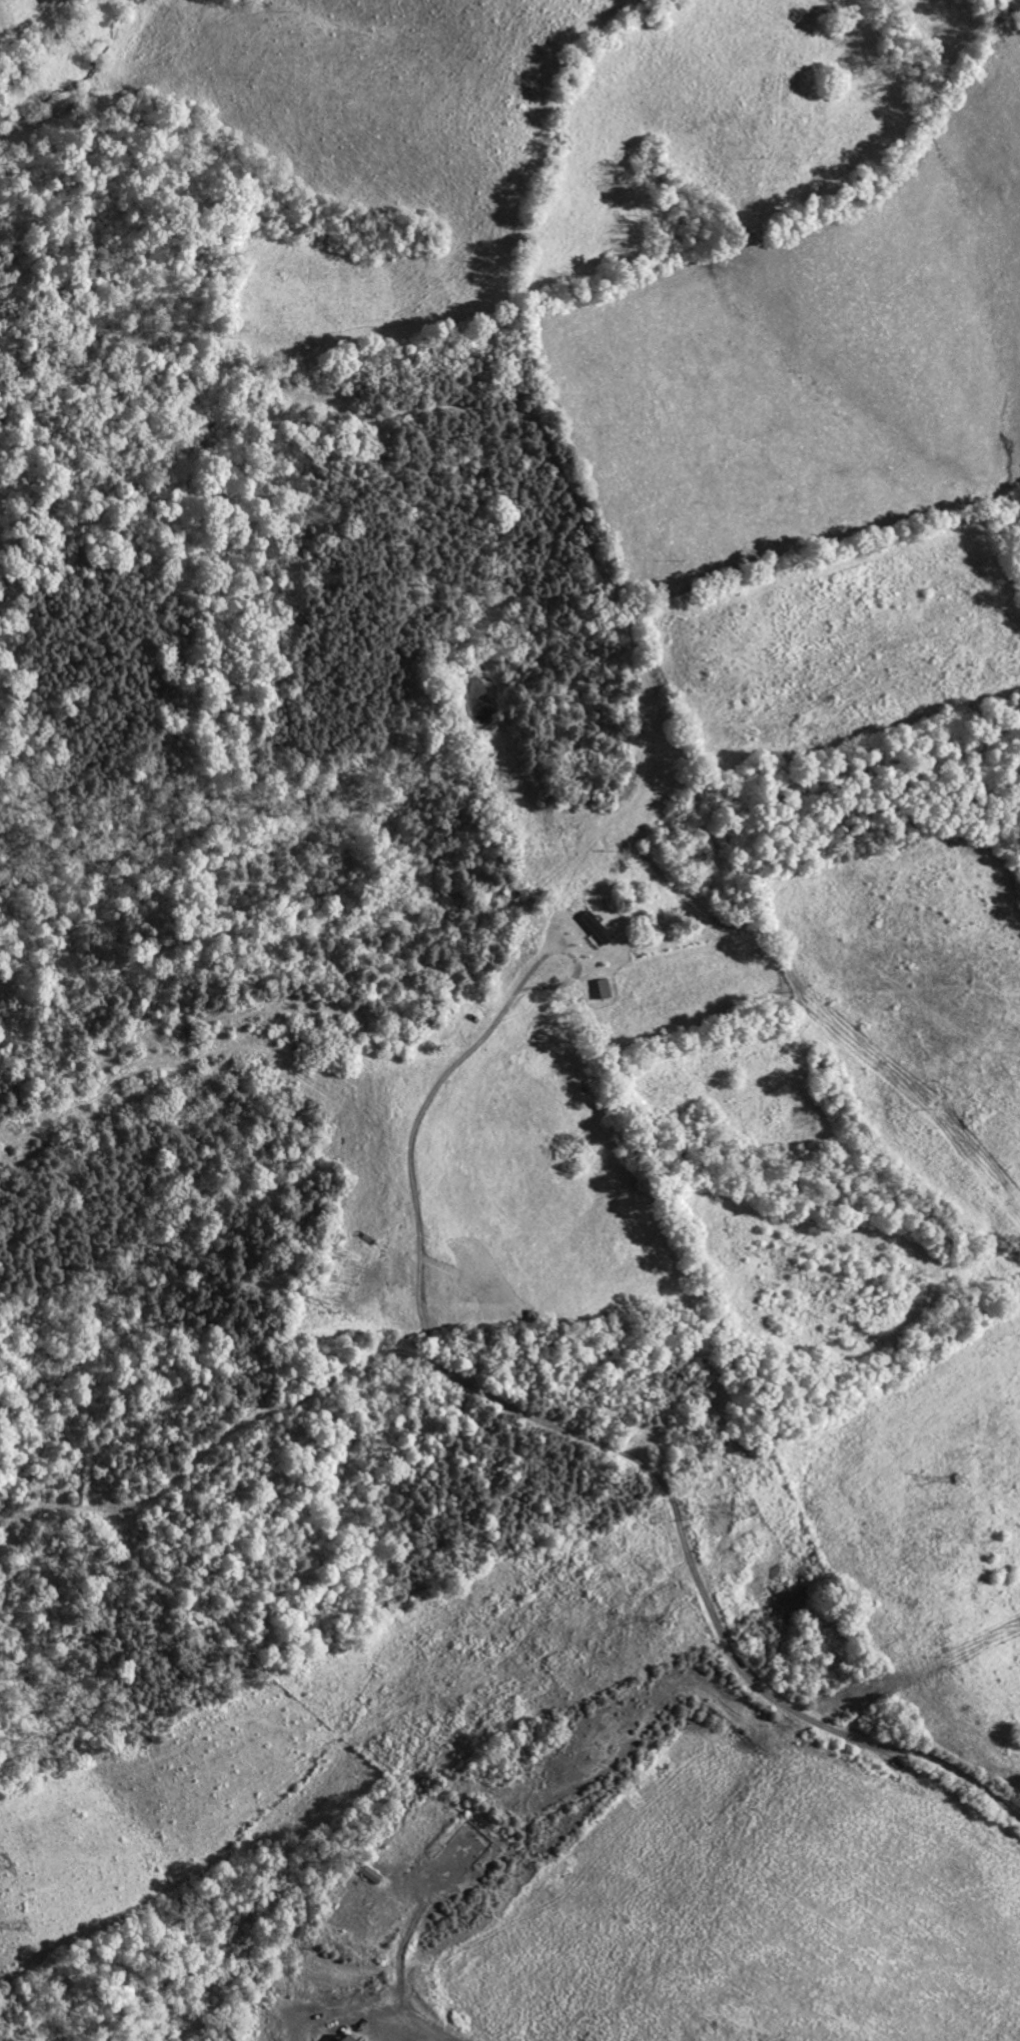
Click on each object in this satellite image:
road: (605, 1422)
power tower: (751, 1505)
power tower: (14, 1858)
building: (339, 2039)

